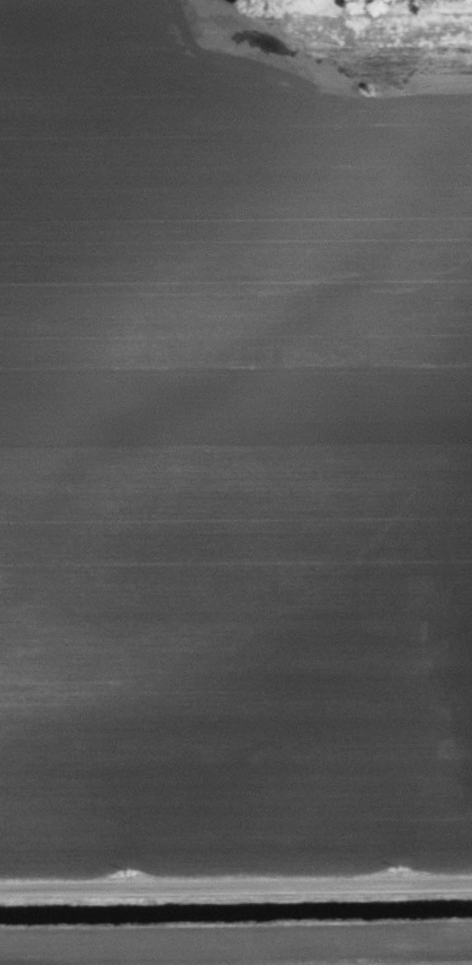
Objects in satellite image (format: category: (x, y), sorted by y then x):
road: (236, 887)

